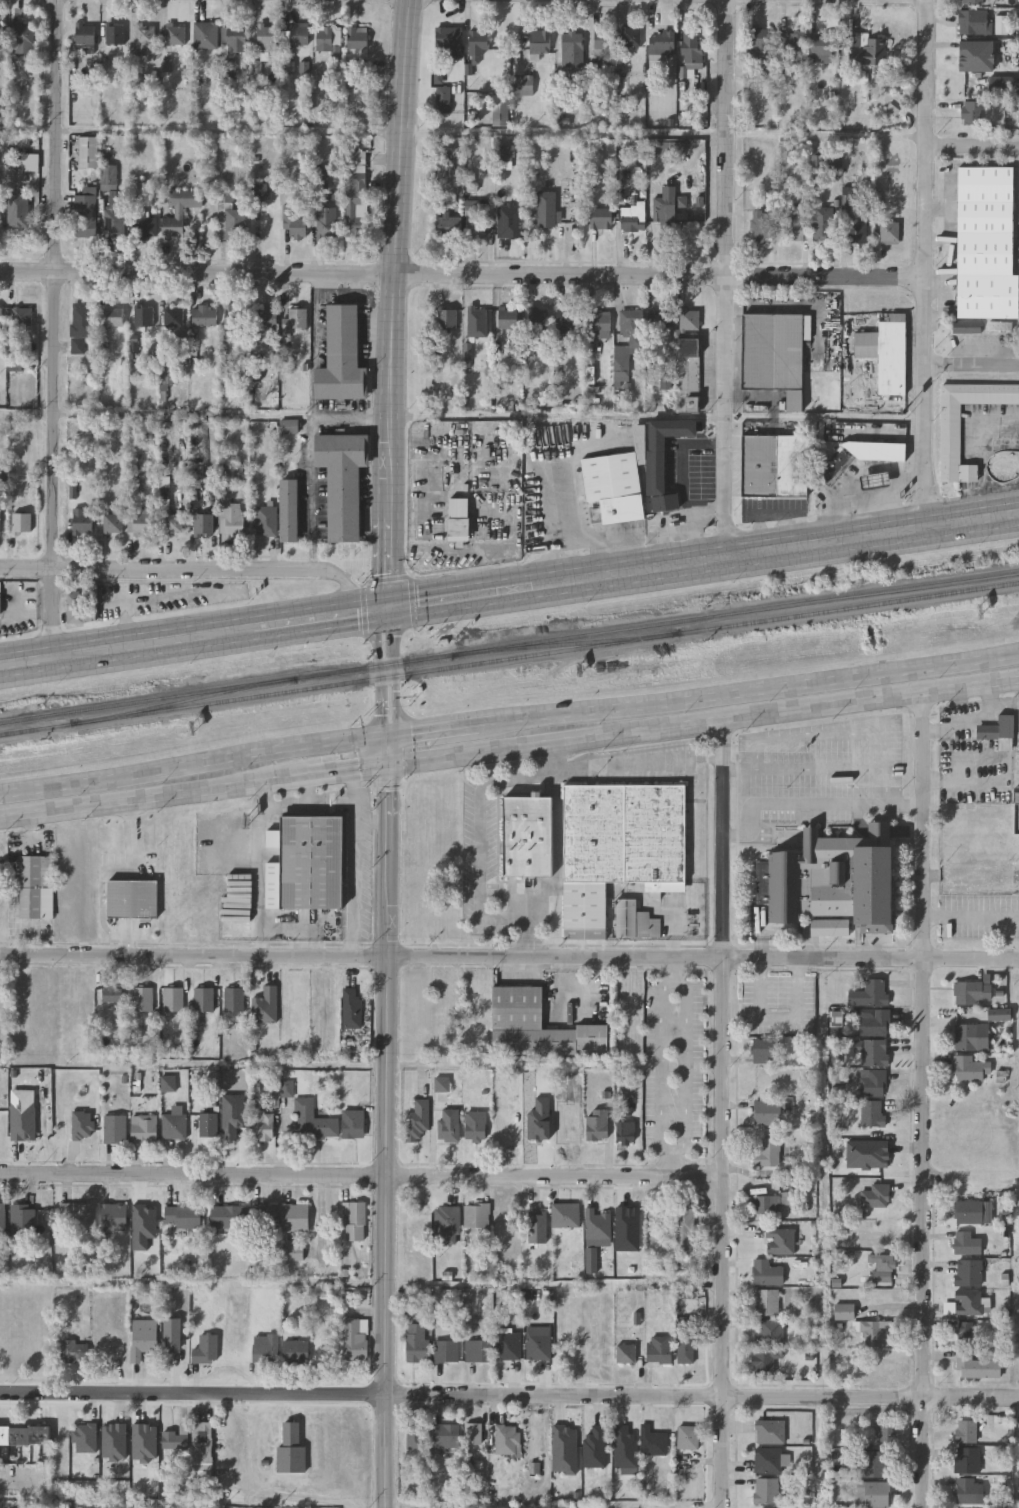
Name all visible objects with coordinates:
building: (972, 2)
building: (975, 22)
building: (86, 34)
building: (114, 34)
building: (175, 34)
building: (298, 34)
building: (1, 35)
building: (205, 35)
building: (267, 37)
building: (631, 37)
building: (23, 38)
building: (144, 38)
building: (356, 38)
building: (235, 40)
building: (328, 40)
building: (603, 41)
building: (759, 43)
building: (791, 43)
building: (447, 44)
building: (538, 44)
building: (820, 44)
building: (661, 46)
building: (691, 47)
building: (476, 49)
building: (572, 51)
building: (866, 53)
building: (975, 56)
building: (523, 82)
building: (443, 99)
building: (499, 110)
building: (973, 113)
road: (392, 128)
road: (826, 134)
road: (972, 146)
building: (88, 152)
building: (354, 162)
building: (355, 206)
building: (178, 209)
building: (664, 209)
building: (19, 211)
building: (85, 215)
building: (541, 215)
building: (600, 218)
building: (632, 218)
building: (230, 221)
building: (294, 222)
building: (508, 222)
building: (326, 223)
building: (142, 224)
building: (794, 224)
building: (822, 224)
building: (475, 225)
building: (763, 226)
building: (447, 228)
building: (856, 231)
building: (889, 233)
building: (986, 241)
road: (925, 264)
road: (462, 279)
road: (728, 279)
road: (394, 304)
building: (112, 316)
building: (143, 316)
building: (204, 316)
building: (508, 316)
building: (1, 317)
building: (22, 317)
building: (447, 317)
building: (538, 317)
building: (173, 318)
building: (264, 318)
building: (690, 318)
building: (297, 319)
building: (567, 319)
building: (598, 319)
building: (82, 321)
building: (235, 321)
building: (477, 321)
building: (632, 328)
road: (55, 329)
building: (76, 347)
building: (886, 351)
building: (342, 355)
building: (771, 361)
building: (14, 363)
road: (971, 366)
building: (688, 374)
building: (167, 375)
road: (185, 414)
building: (951, 432)
building: (876, 449)
road: (983, 452)
road: (313, 456)
building: (663, 458)
building: (773, 464)
building: (836, 464)
building: (230, 473)
building: (873, 478)
building: (616, 480)
building: (343, 481)
road: (686, 483)
building: (135, 488)
building: (700, 502)
road: (707, 508)
building: (290, 509)
building: (231, 518)
building: (457, 518)
building: (1, 520)
building: (140, 521)
building: (264, 521)
building: (81, 522)
building: (20, 523)
building: (112, 523)
building: (172, 525)
building: (202, 525)
road: (777, 550)
road: (27, 568)
road: (184, 570)
road: (351, 586)
building: (0, 598)
road: (461, 598)
building: (83, 607)
traffic signals: (387, 609)
road: (368, 612)
road: (302, 623)
railway: (570, 642)
railway: (509, 644)
road: (127, 649)
railway: (509, 659)
road: (379, 674)
road: (397, 674)
road: (761, 691)
railway: (186, 700)
road: (703, 722)
building: (997, 727)
road: (445, 731)
traffic signals: (388, 740)
road: (387, 752)
road: (193, 762)
road: (639, 763)
traffic signals: (387, 764)
road: (348, 769)
building: (1016, 794)
road: (155, 795)
road: (806, 804)
road: (289, 808)
road: (372, 820)
building: (528, 836)
road: (723, 839)
road: (480, 844)
building: (619, 846)
road: (357, 863)
building: (307, 864)
building: (832, 881)
road: (261, 883)
building: (34, 890)
building: (132, 898)
road: (971, 914)
building: (634, 920)
road: (300, 932)
road: (360, 958)
road: (870, 958)
road: (675, 969)
building: (878, 991)
building: (972, 991)
building: (112, 993)
building: (143, 999)
building: (173, 999)
building: (203, 999)
building: (234, 999)
building: (323, 1000)
building: (353, 1000)
building: (265, 1005)
building: (878, 1022)
building: (538, 1026)
building: (970, 1036)
building: (767, 1050)
building: (877, 1052)
building: (969, 1068)
building: (167, 1082)
building: (877, 1083)
road: (922, 1099)
building: (764, 1111)
building: (876, 1113)
building: (312, 1121)
building: (419, 1121)
building: (262, 1123)
building: (354, 1123)
building: (600, 1123)
building: (208, 1124)
building: (451, 1124)
building: (82, 1125)
building: (174, 1125)
building: (478, 1125)
building: (144, 1127)
building: (115, 1128)
building: (628, 1131)
road: (389, 1135)
road: (673, 1151)
building: (767, 1152)
road: (673, 1165)
road: (361, 1177)
building: (766, 1203)
building: (882, 1203)
building: (570, 1211)
building: (967, 1211)
building: (80, 1214)
building: (477, 1215)
building: (114, 1216)
building: (183, 1216)
building: (228, 1216)
building: (265, 1216)
building: (296, 1217)
building: (2, 1218)
building: (23, 1219)
building: (354, 1220)
building: (448, 1223)
building: (599, 1223)
building: (539, 1226)
building: (682, 1228)
road: (723, 1232)
building: (780, 1240)
building: (965, 1242)
building: (880, 1261)
building: (766, 1272)
building: (968, 1272)
building: (766, 1300)
building: (968, 1301)
building: (843, 1310)
park: (29, 1331)
building: (770, 1332)
building: (876, 1332)
building: (172, 1334)
building: (142, 1337)
building: (355, 1338)
building: (964, 1340)
building: (541, 1341)
building: (419, 1343)
building: (510, 1345)
building: (684, 1346)
building: (657, 1347)
building: (265, 1348)
building: (102, 1349)
building: (205, 1349)
building: (480, 1349)
building: (74, 1350)
building: (448, 1350)
building: (294, 1351)
building: (624, 1351)
building: (763, 1360)
road: (509, 1395)
building: (769, 1430)
building: (965, 1430)
building: (416, 1433)
building: (475, 1433)
building: (885, 1433)
building: (25, 1434)
building: (448, 1434)
building: (686, 1435)
building: (509, 1438)
building: (176, 1439)
building: (650, 1439)
building: (536, 1441)
building: (201, 1444)
building: (291, 1450)
building: (967, 1458)
building: (768, 1459)
building: (874, 1462)
road: (254, 1485)
building: (766, 1490)
building: (968, 1490)
building: (876, 1493)
building: (769, 1507)

